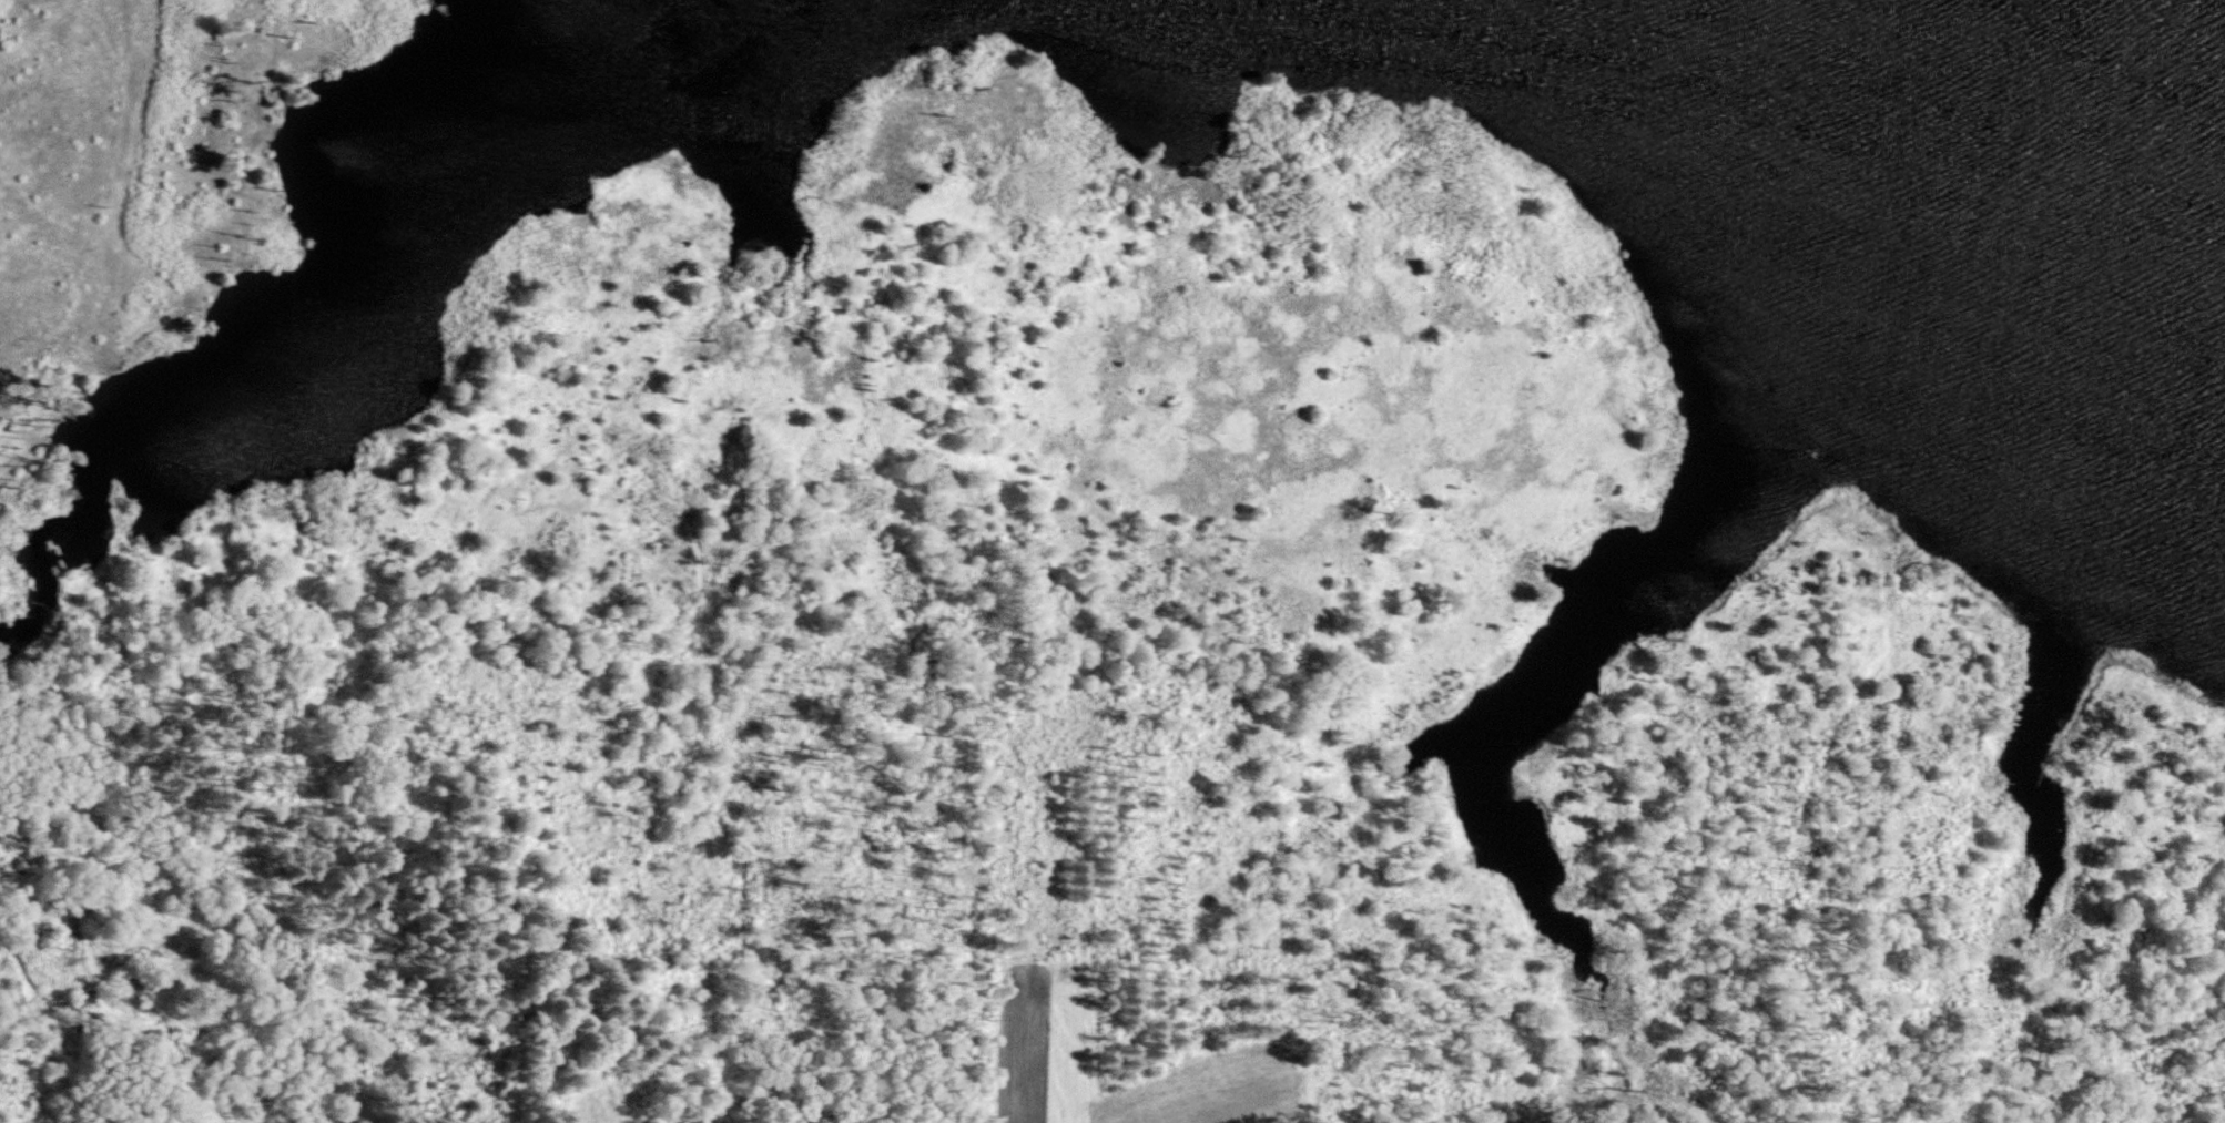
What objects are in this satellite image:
road: (31, 28)
river: (2123, 52)

